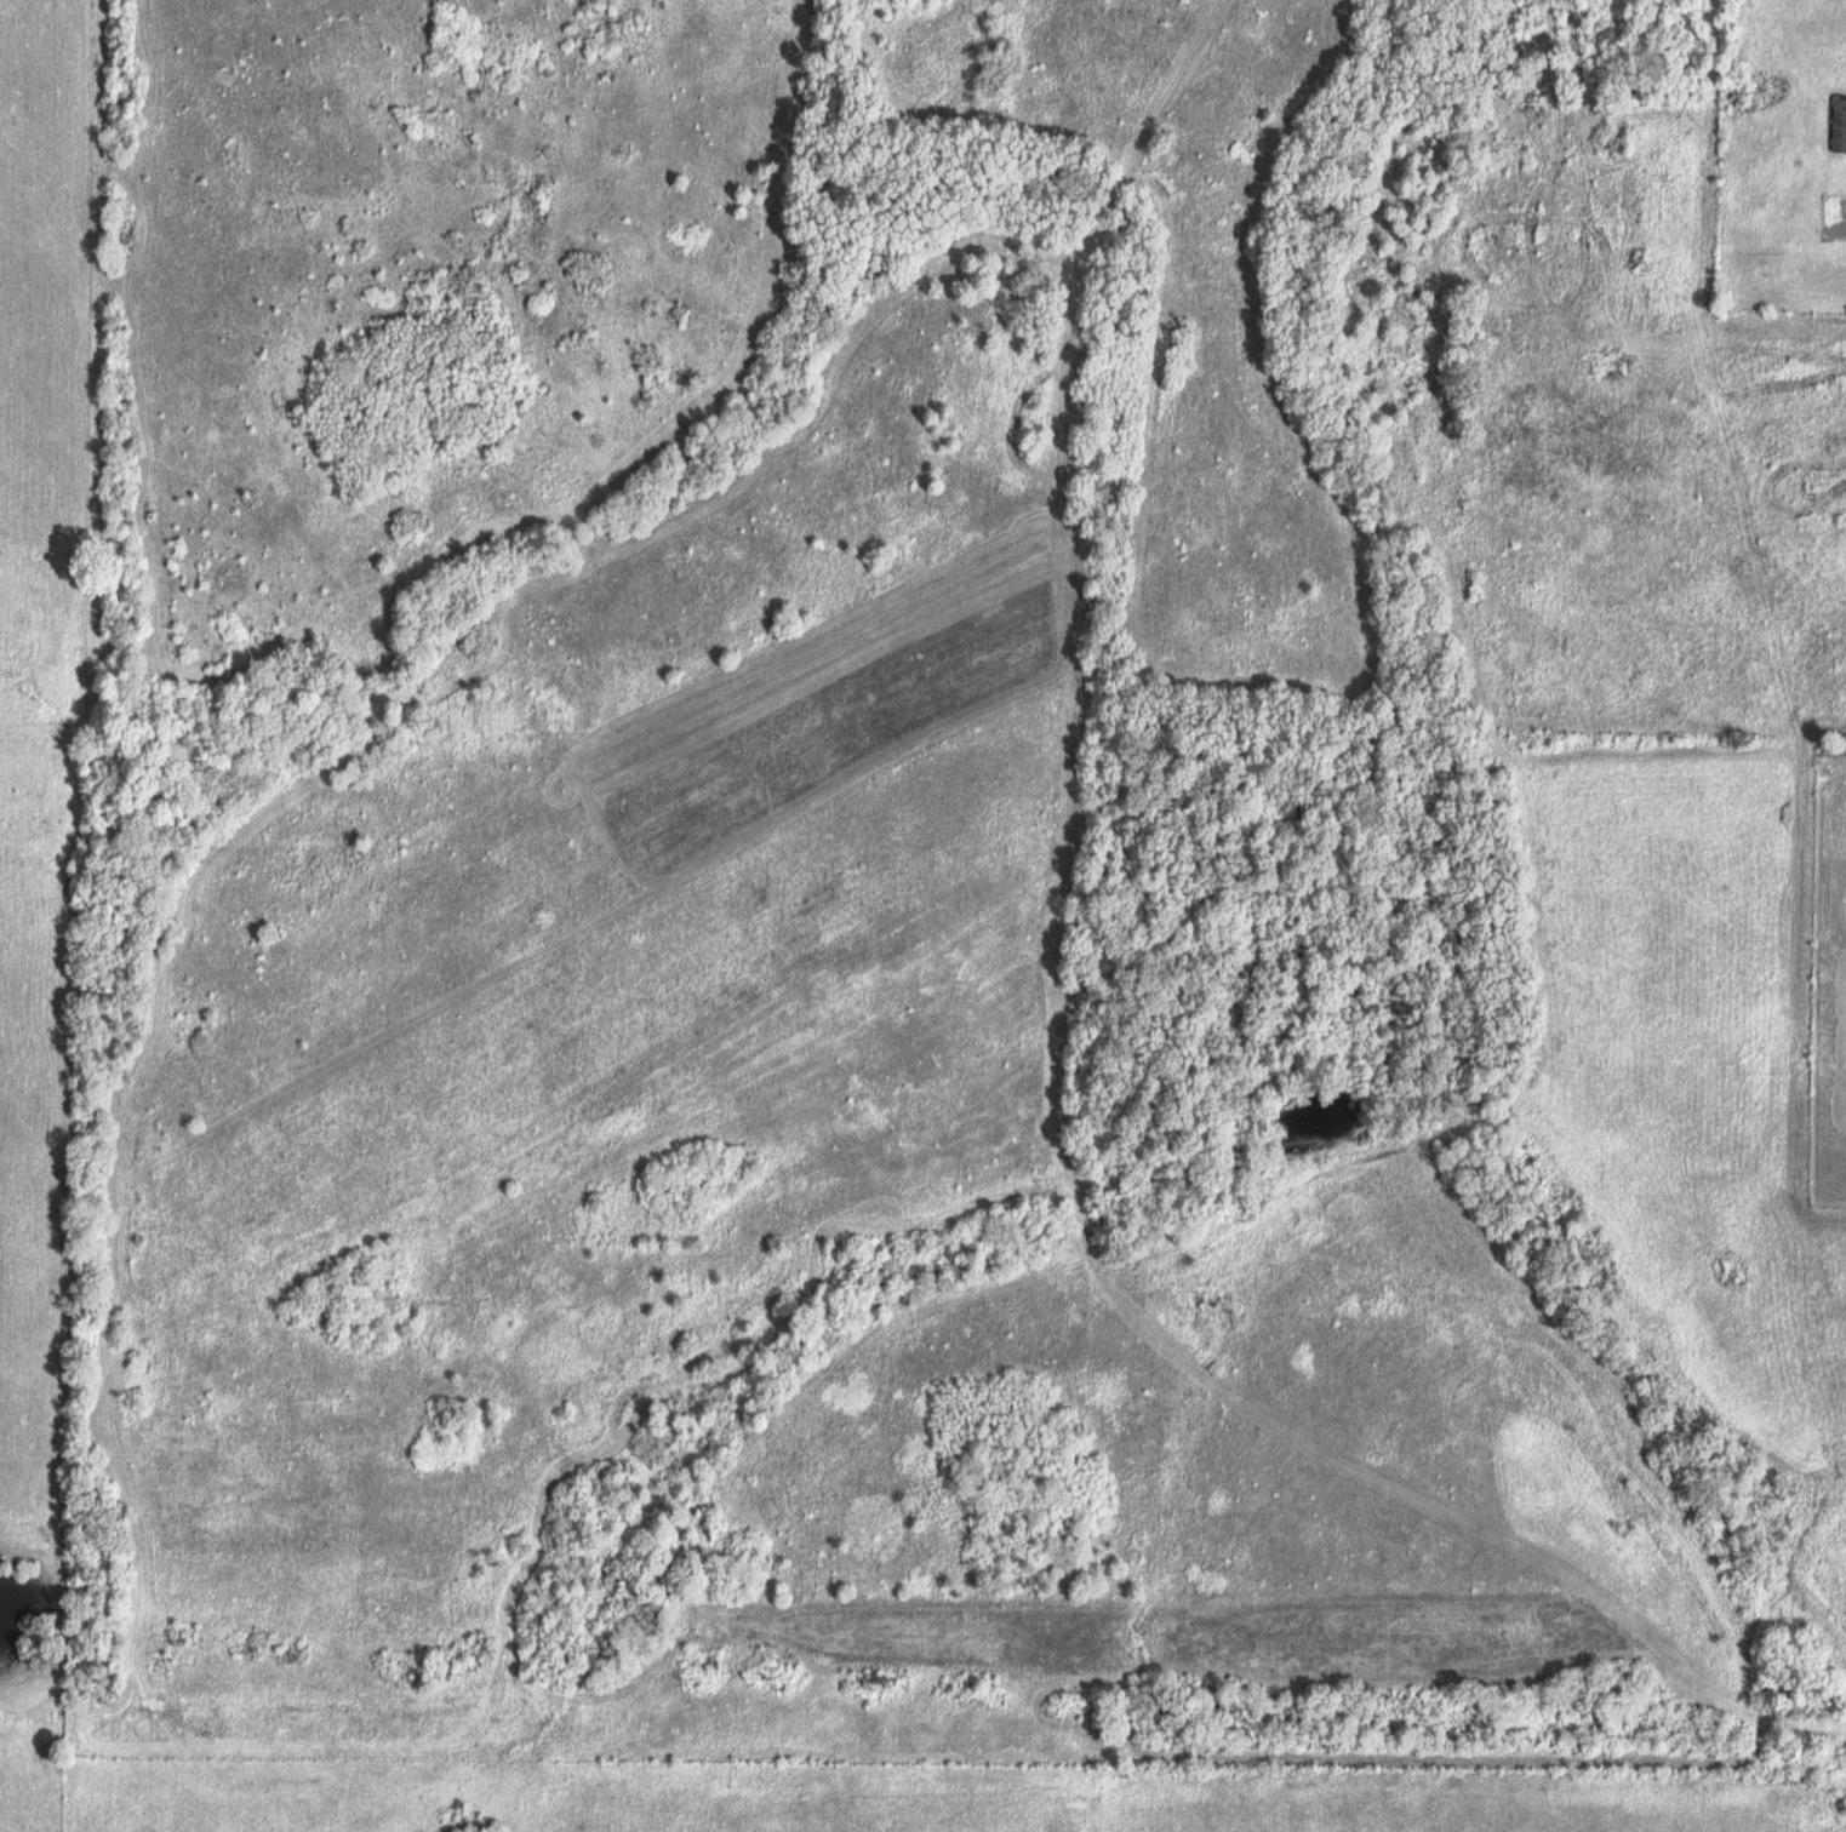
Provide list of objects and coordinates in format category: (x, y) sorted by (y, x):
building: (1839, 125)

